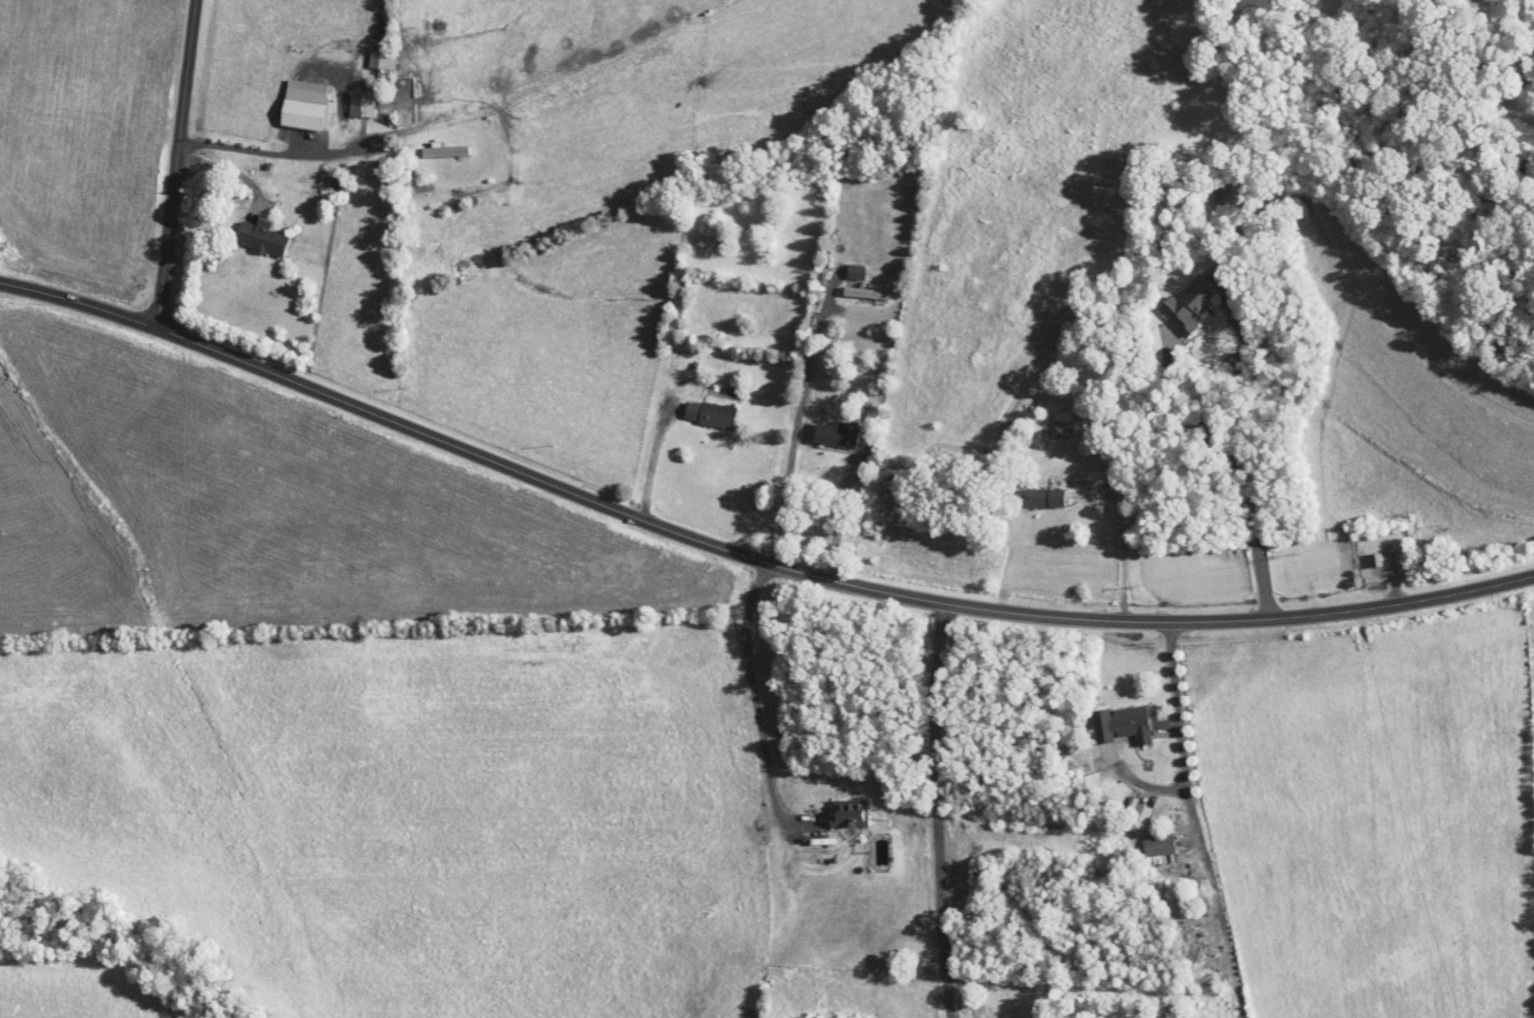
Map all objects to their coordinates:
building: (368, 53)
building: (290, 97)
building: (349, 97)
building: (431, 143)
road: (278, 153)
road: (213, 162)
road: (175, 164)
building: (1213, 187)
building: (699, 229)
building: (247, 230)
building: (853, 286)
road: (255, 296)
building: (1175, 297)
building: (697, 407)
road: (795, 418)
building: (1049, 418)
building: (822, 427)
road: (666, 467)
road: (1229, 469)
building: (1042, 491)
building: (1019, 496)
road: (840, 509)
road: (1121, 526)
road: (747, 556)
road: (755, 696)
building: (1109, 718)
road: (1182, 753)
building: (837, 807)
building: (1145, 837)

